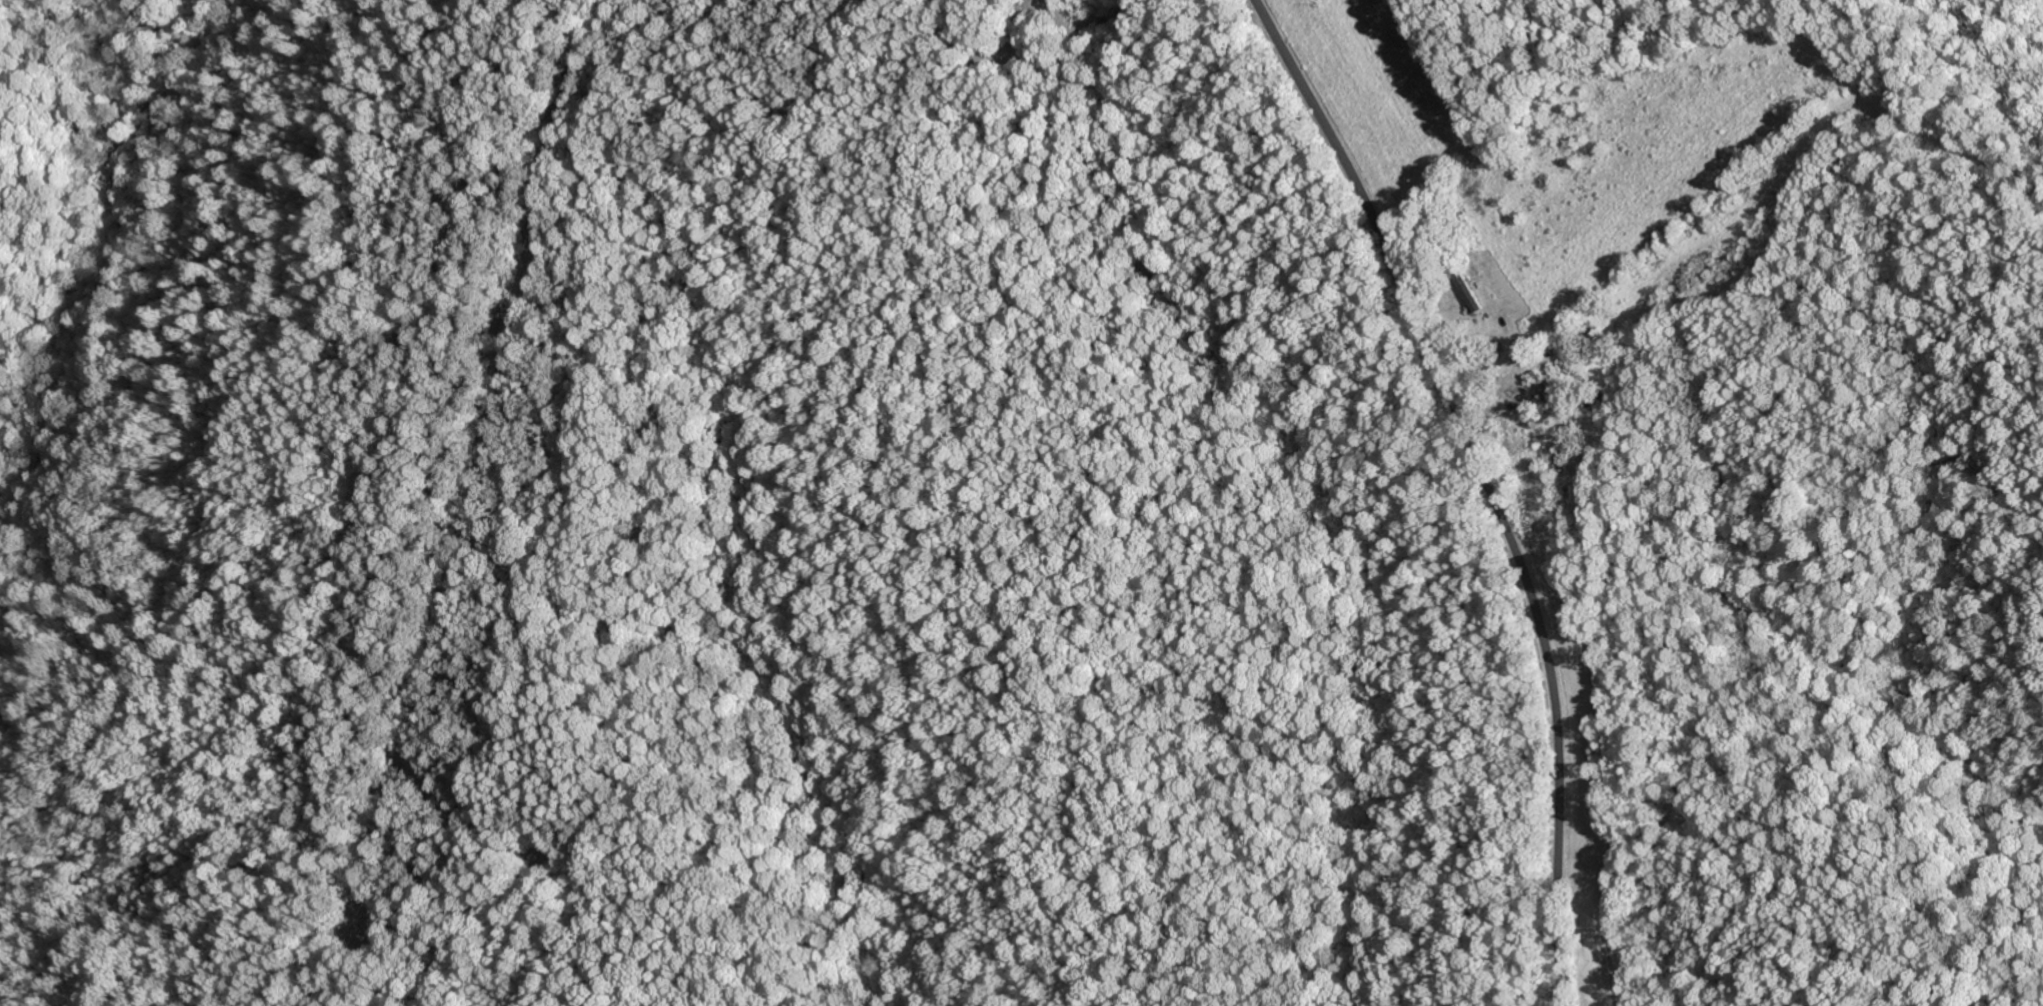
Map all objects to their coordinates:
road: (1485, 482)

